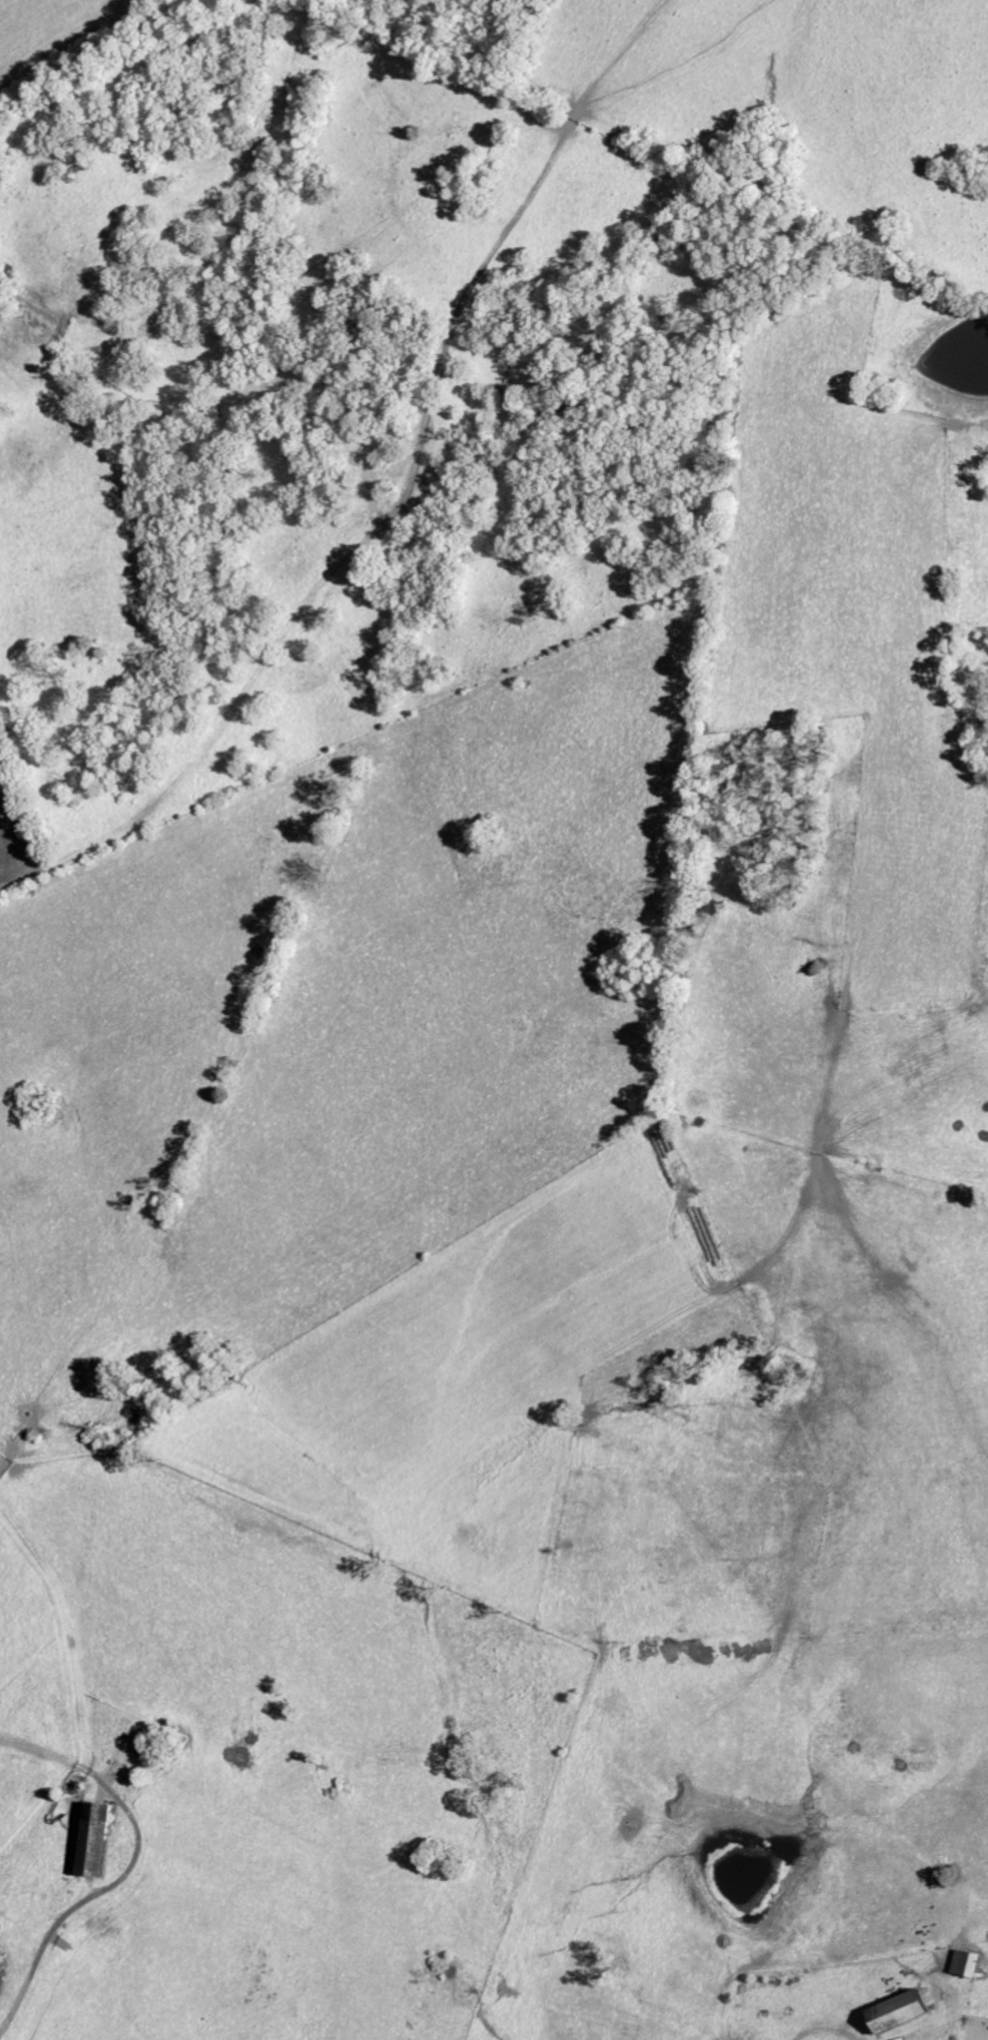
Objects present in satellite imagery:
building: (93, 1840)
road: (69, 1908)
building: (965, 1962)
building: (897, 2010)
road: (797, 2032)

